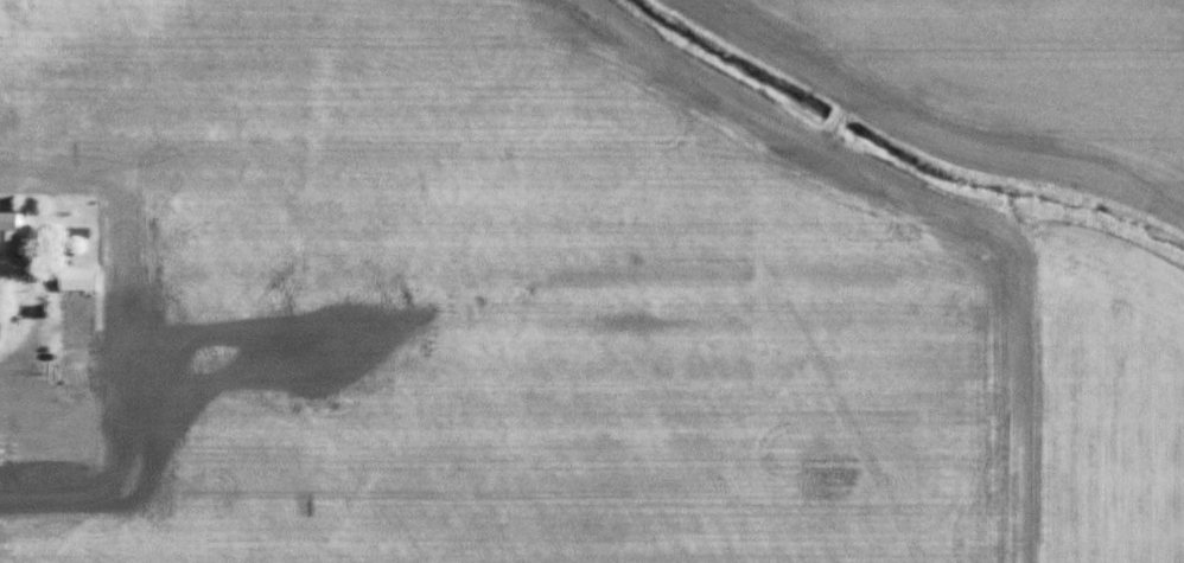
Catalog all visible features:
building: (17, 252)
building: (75, 279)
building: (74, 320)
building: (26, 395)

